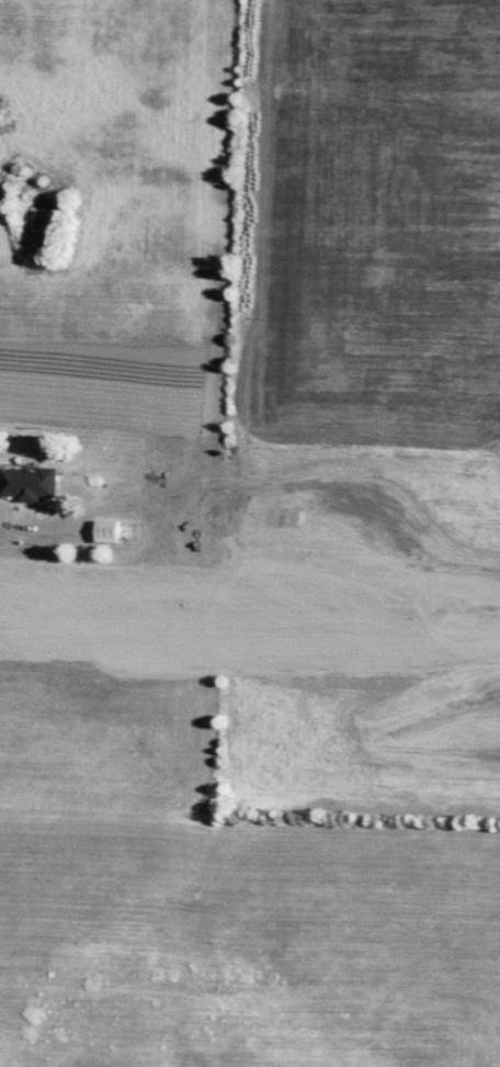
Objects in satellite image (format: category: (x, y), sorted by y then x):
building: (27, 485)
building: (115, 532)

